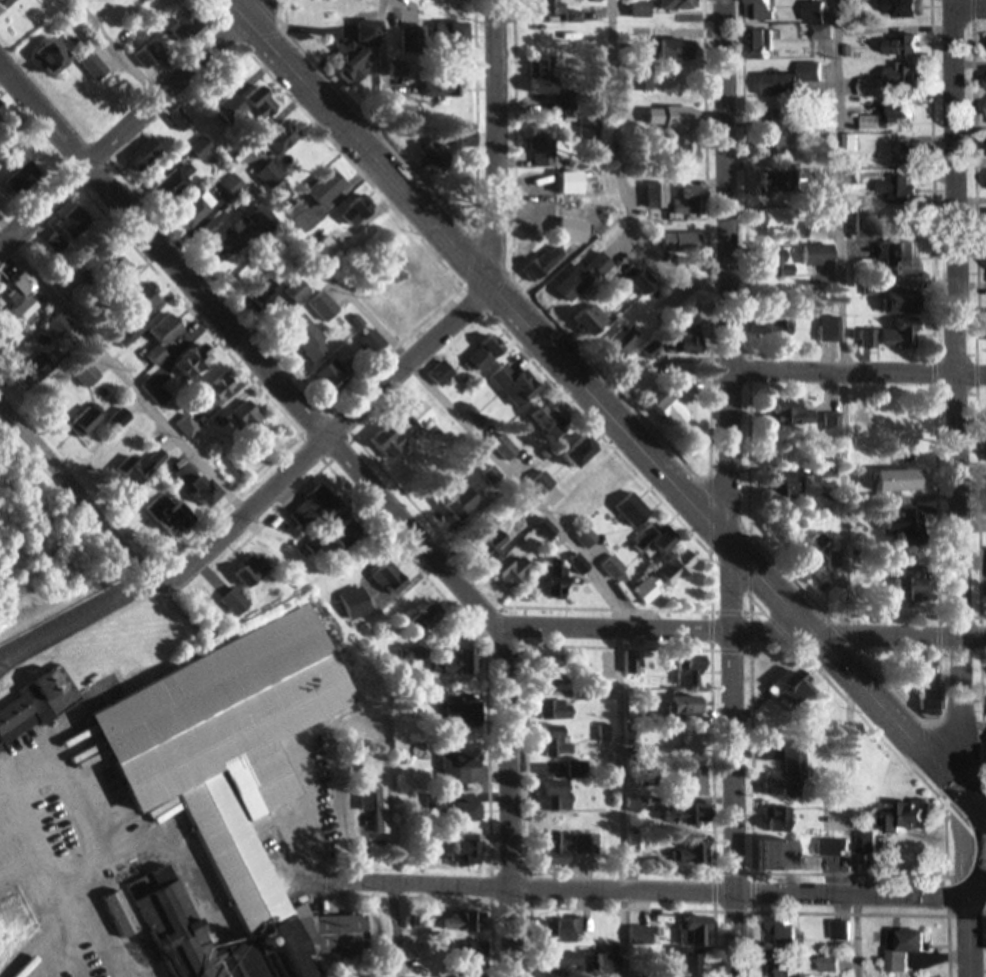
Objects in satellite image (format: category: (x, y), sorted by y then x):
building: (6, 2)
building: (679, 4)
road: (969, 7)
building: (551, 8)
building: (763, 10)
building: (188, 26)
building: (823, 33)
building: (907, 45)
road: (117, 49)
building: (676, 50)
building: (54, 57)
building: (97, 68)
road: (381, 72)
building: (903, 76)
building: (790, 80)
building: (3, 110)
building: (897, 114)
road: (132, 123)
building: (683, 133)
road: (493, 137)
building: (283, 139)
building: (552, 148)
building: (147, 153)
road: (619, 176)
building: (18, 183)
building: (234, 185)
road: (974, 185)
building: (199, 210)
building: (778, 219)
building: (264, 221)
building: (72, 229)
building: (818, 231)
building: (220, 237)
building: (809, 244)
building: (768, 252)
building: (407, 257)
building: (911, 259)
building: (784, 263)
building: (125, 270)
building: (585, 275)
building: (301, 291)
building: (269, 295)
building: (145, 298)
building: (907, 301)
building: (327, 307)
building: (29, 308)
road: (843, 314)
building: (781, 325)
building: (832, 329)
building: (901, 333)
building: (309, 334)
building: (869, 334)
building: (167, 336)
building: (489, 355)
building: (193, 364)
road: (857, 367)
road: (121, 377)
building: (685, 380)
building: (515, 384)
building: (221, 389)
building: (159, 393)
road: (610, 407)
building: (675, 410)
building: (799, 412)
building: (90, 420)
building: (550, 424)
building: (191, 426)
building: (391, 442)
building: (584, 451)
building: (148, 466)
road: (292, 467)
road: (372, 475)
building: (186, 477)
building: (606, 481)
building: (545, 482)
building: (900, 483)
road: (732, 488)
road: (962, 488)
road: (77, 489)
building: (635, 510)
building: (172, 513)
building: (589, 537)
building: (657, 540)
building: (680, 568)
building: (255, 571)
building: (518, 572)
road: (607, 584)
building: (917, 586)
building: (238, 601)
road: (748, 628)
building: (688, 674)
building: (38, 704)
building: (688, 705)
building: (559, 710)
building: (558, 744)
building: (693, 745)
building: (799, 760)
building: (461, 767)
building: (239, 774)
building: (695, 782)
building: (558, 795)
building: (468, 812)
building: (925, 816)
road: (850, 825)
building: (868, 844)
building: (589, 845)
building: (471, 849)
building: (564, 849)
building: (694, 853)
building: (782, 855)
road: (664, 889)
road: (395, 928)
building: (569, 931)
building: (839, 931)
building: (643, 935)
building: (908, 951)
building: (828, 965)

